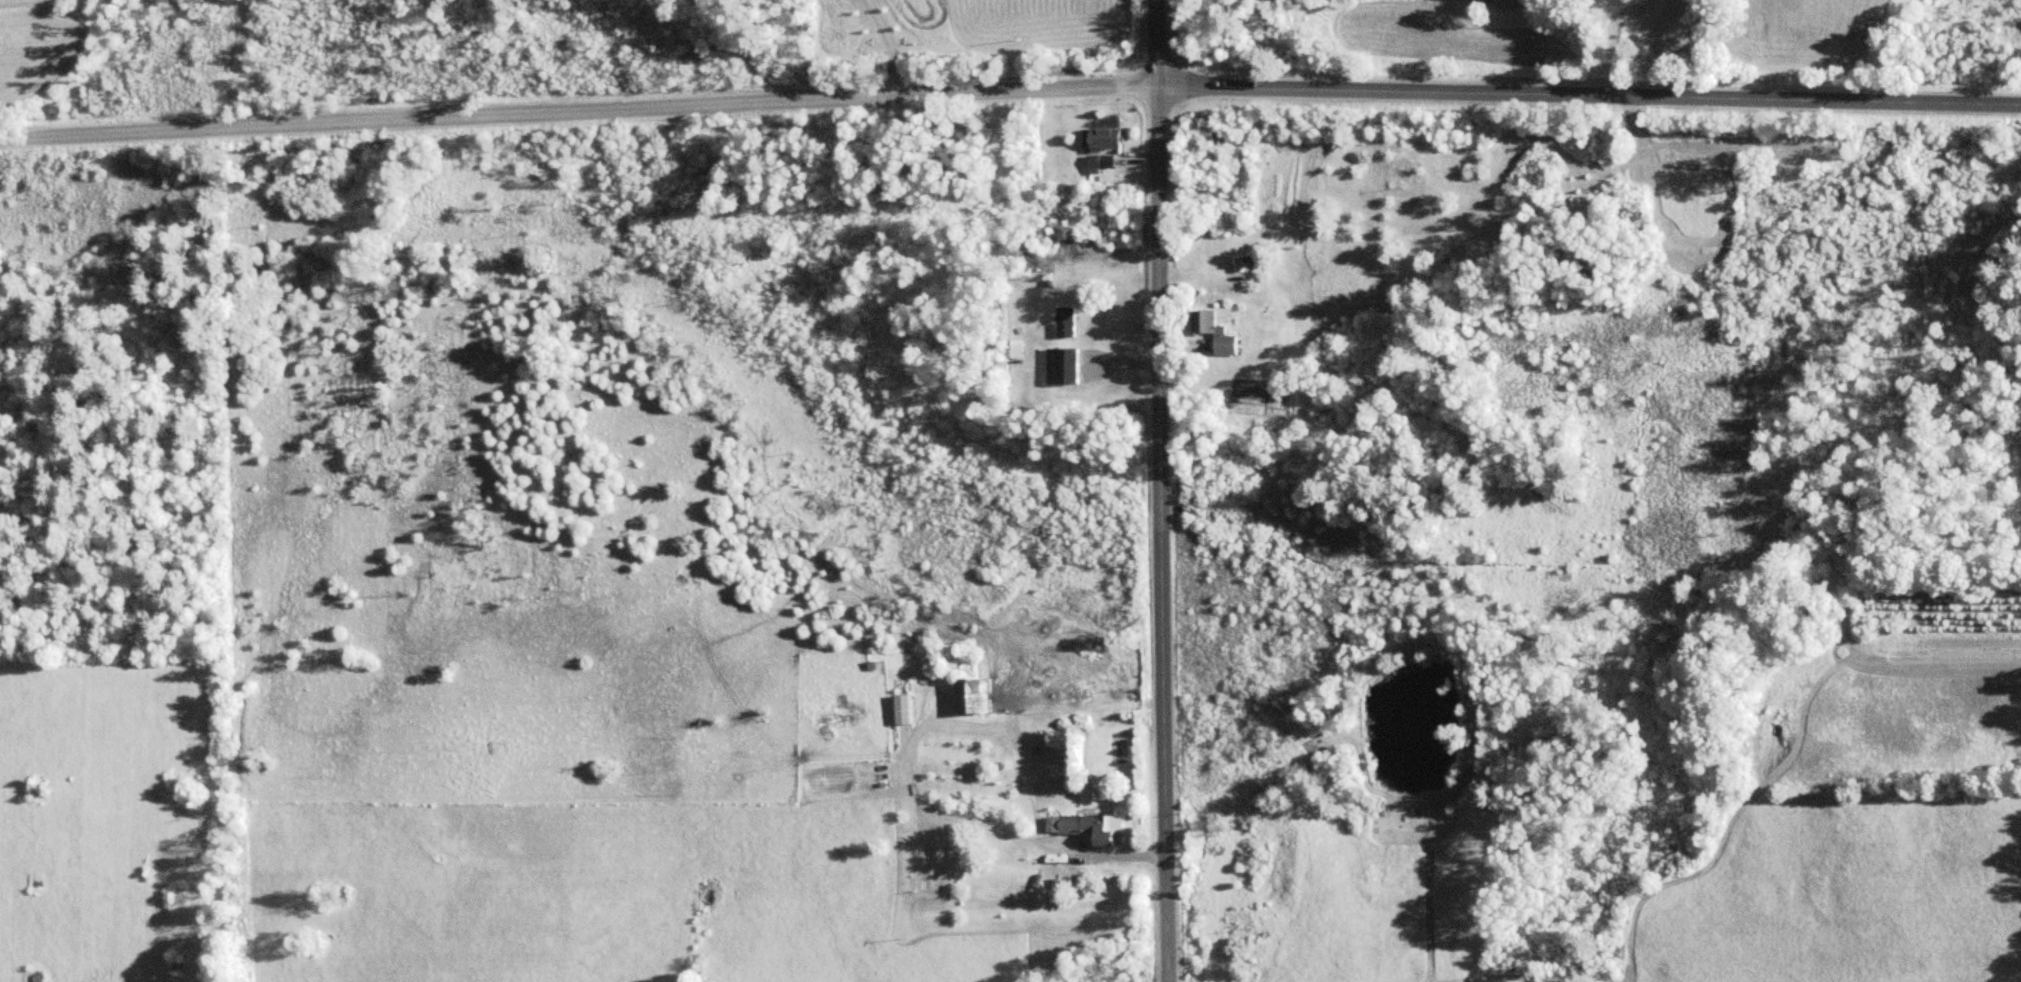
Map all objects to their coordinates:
crop: (34, 2)
road: (1153, 41)
road: (1587, 95)
road: (576, 110)
building: (1105, 138)
building: (1100, 163)
building: (1241, 264)
building: (1066, 323)
building: (1221, 335)
road: (1158, 532)
building: (980, 694)
building: (906, 708)
crop: (102, 823)
building: (1089, 826)

